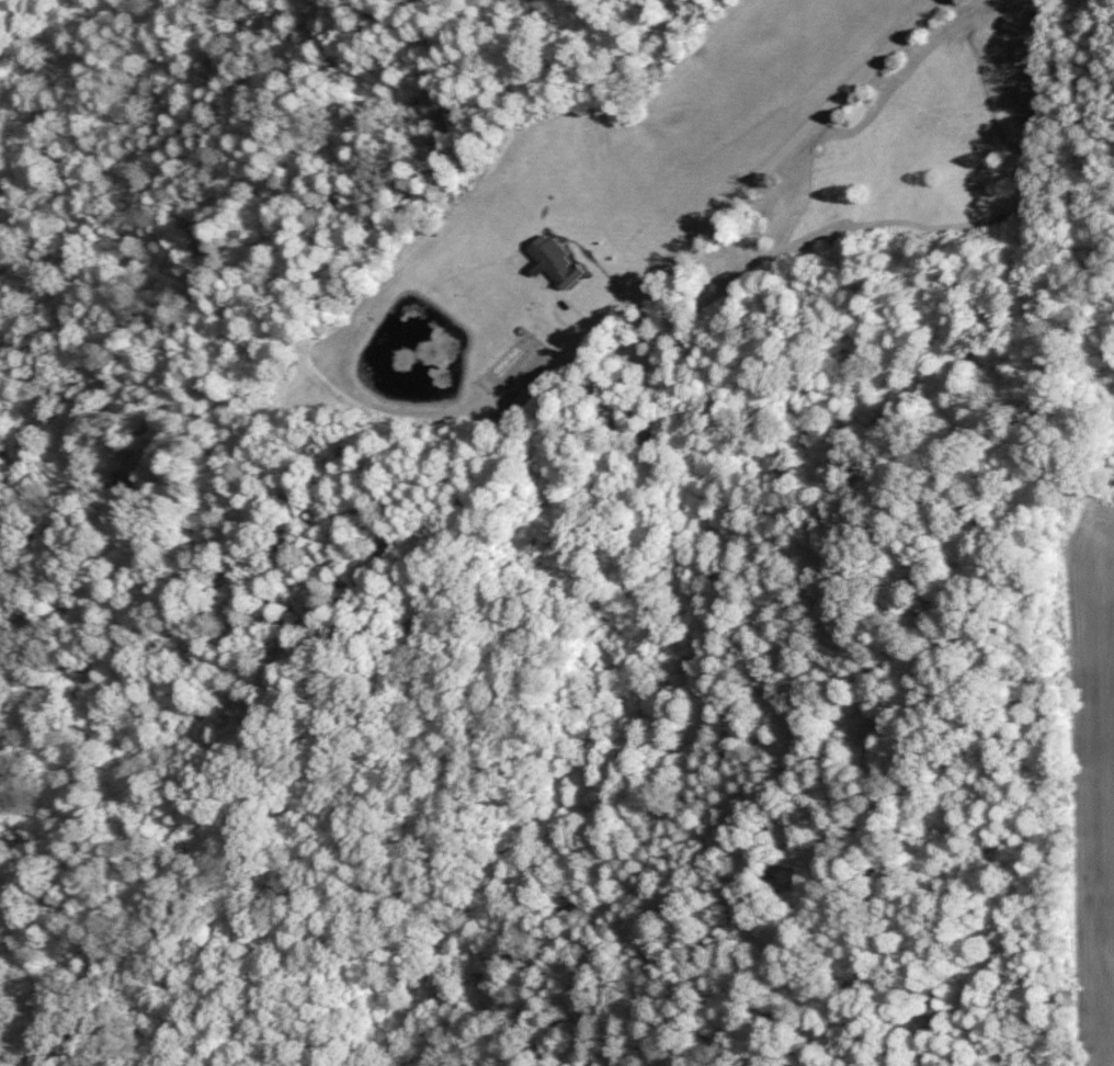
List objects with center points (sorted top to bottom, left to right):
building: (552, 260)

